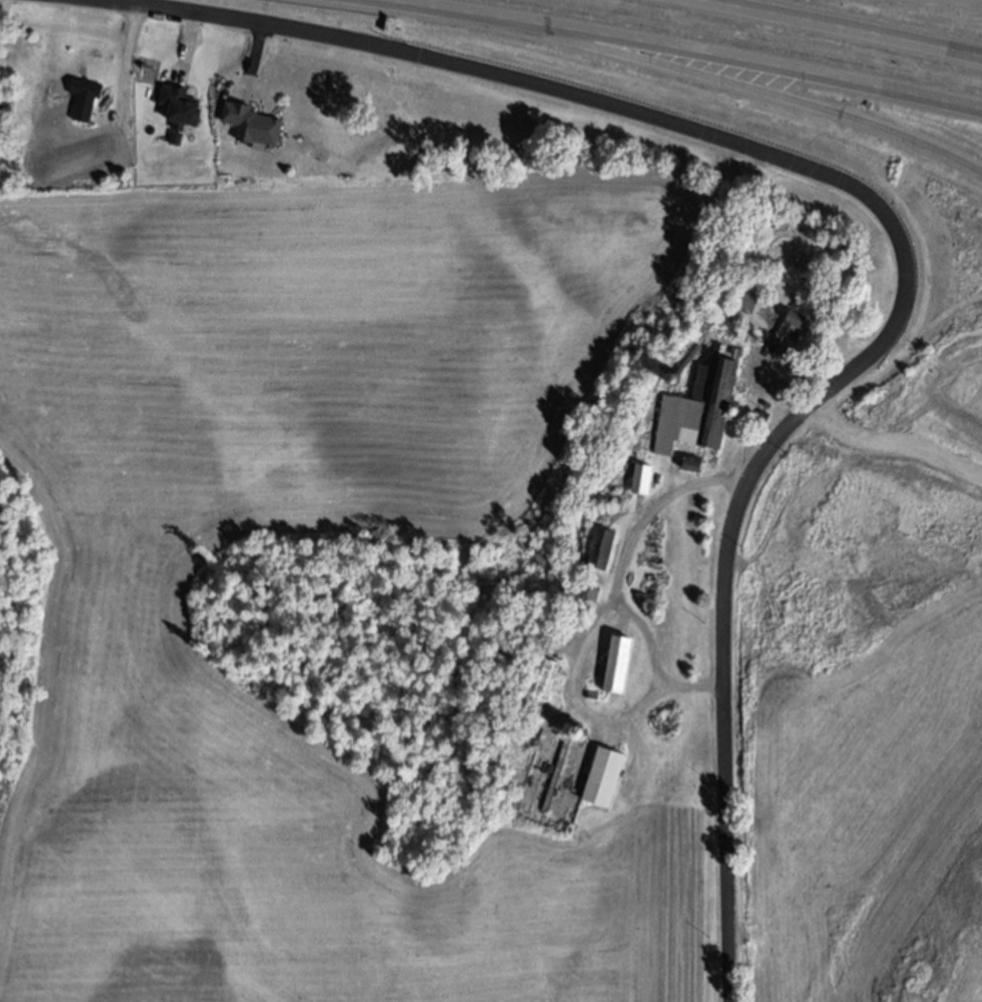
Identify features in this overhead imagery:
road: (3, 9)
road: (847, 26)
road: (681, 52)
road: (126, 61)
road: (745, 87)
building: (85, 97)
building: (179, 108)
building: (250, 124)
building: (31, 158)
building: (92, 163)
road: (895, 232)
building: (755, 274)
building: (746, 300)
building: (791, 326)
building: (689, 359)
road: (750, 403)
building: (700, 407)
building: (693, 464)
building: (642, 478)
building: (619, 505)
building: (601, 508)
building: (596, 545)
road: (613, 576)
building: (586, 600)
building: (541, 647)
building: (618, 663)
building: (539, 682)
road: (576, 702)
building: (603, 776)
building: (555, 777)

